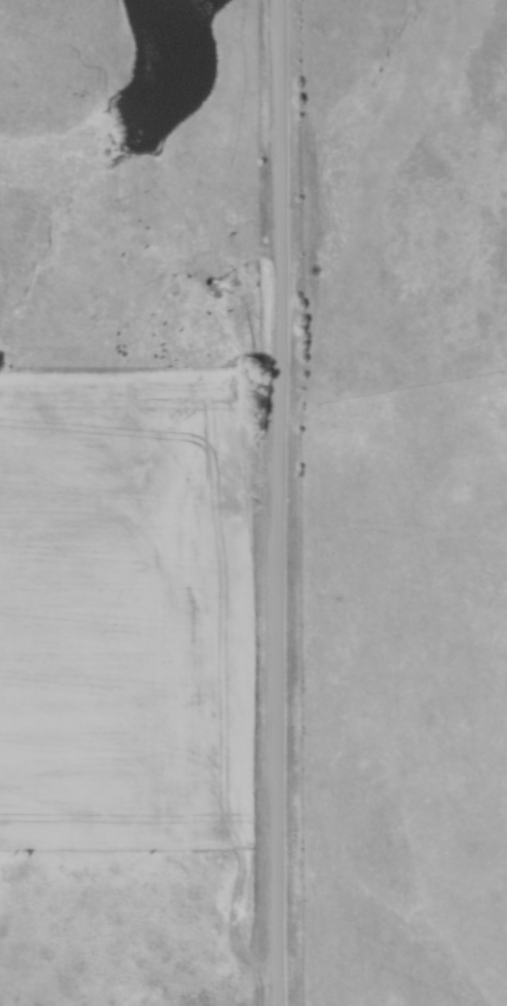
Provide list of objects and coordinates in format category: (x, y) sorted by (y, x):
road: (275, 503)

